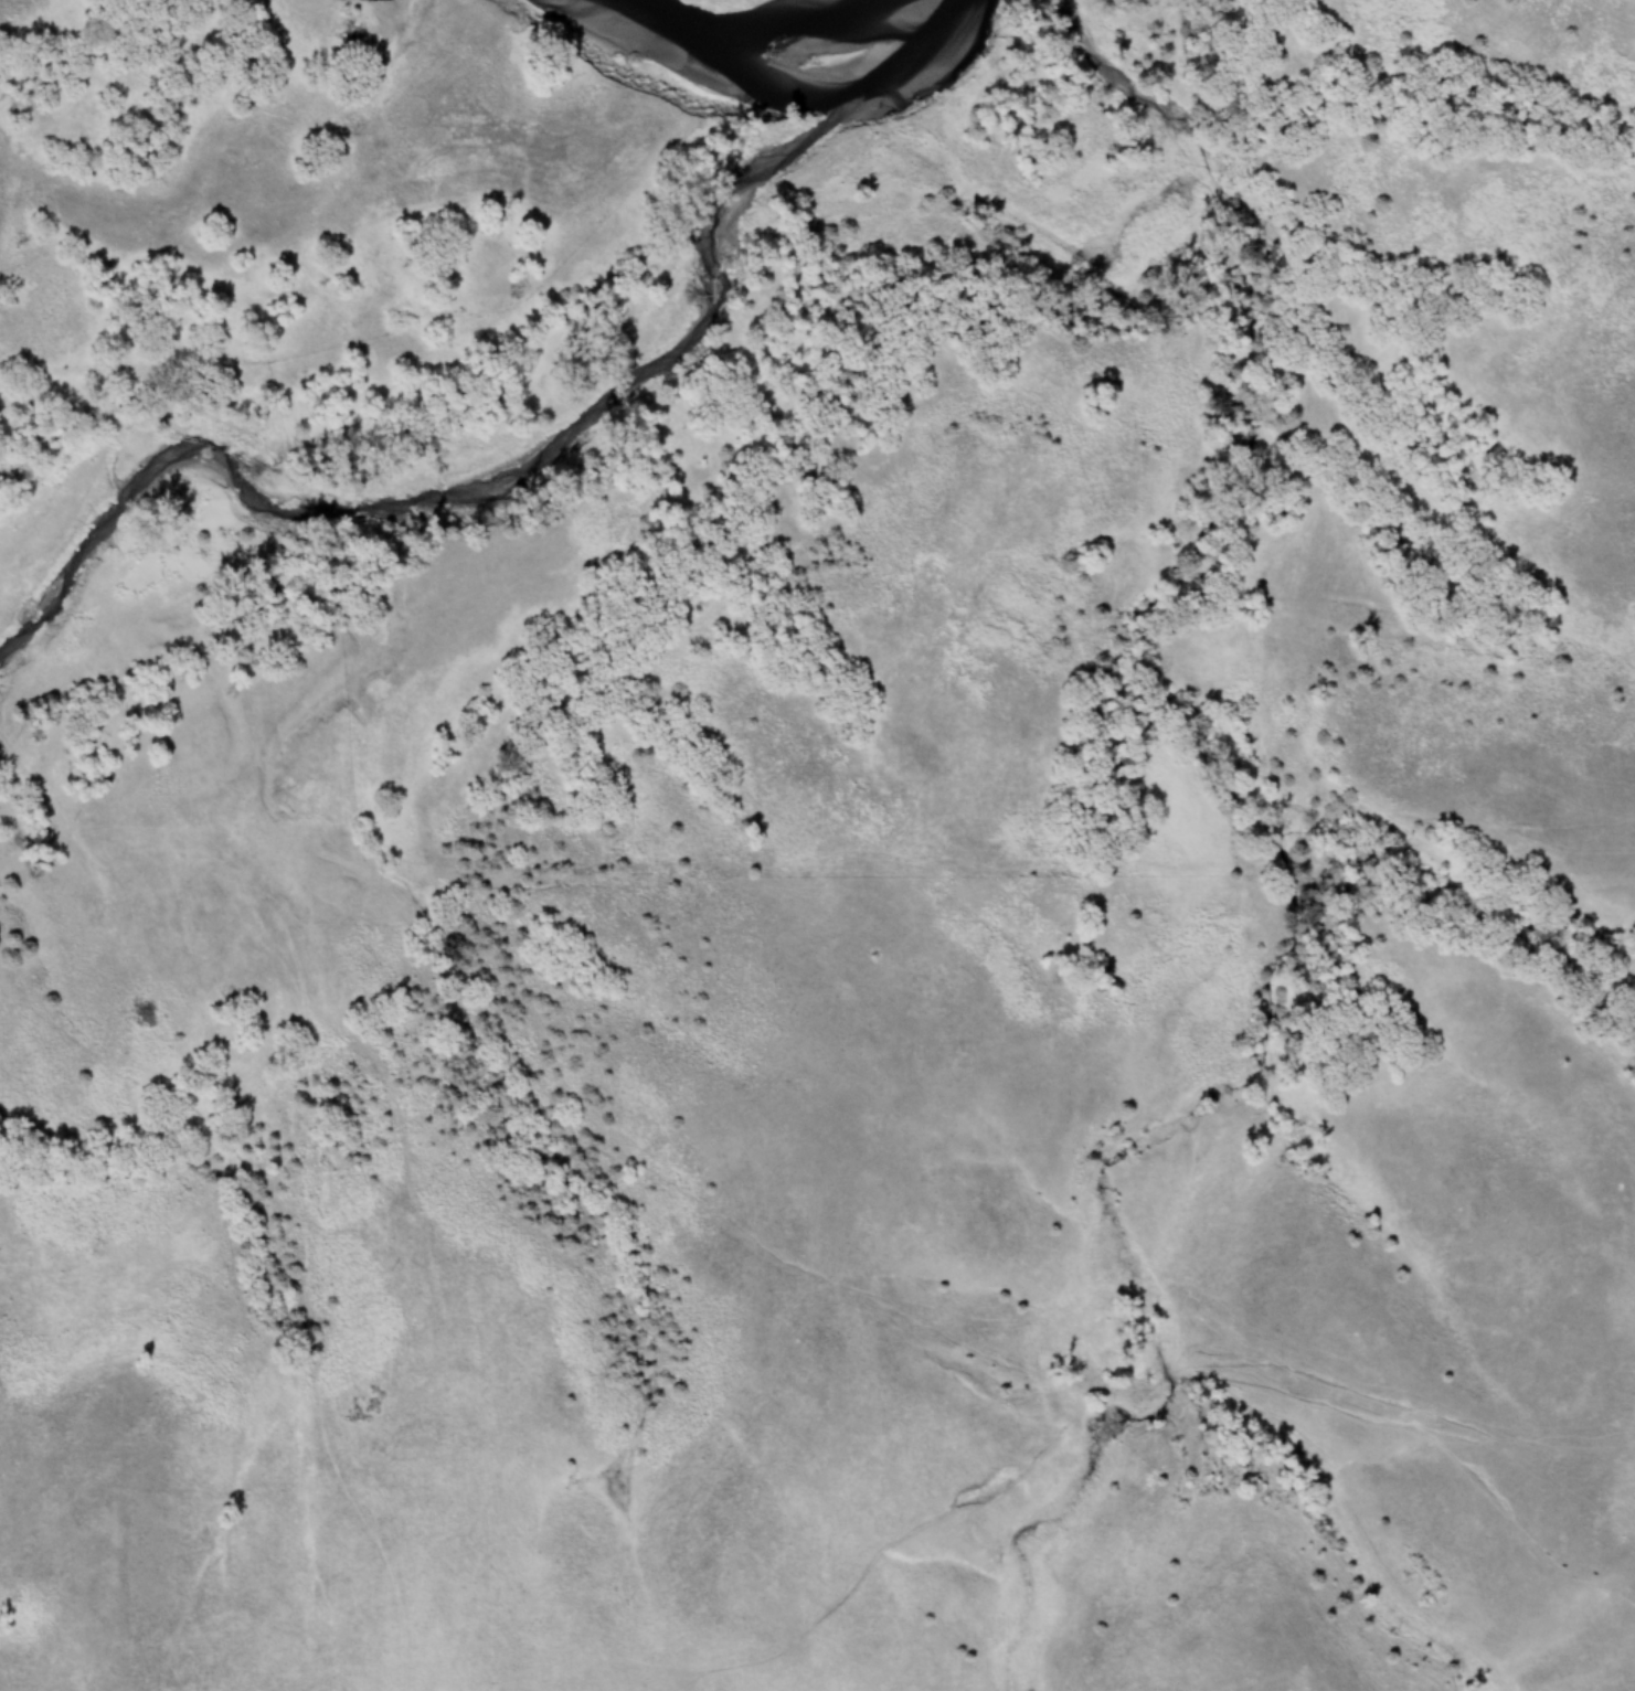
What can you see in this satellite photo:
river: (707, 60)
river: (713, 277)

